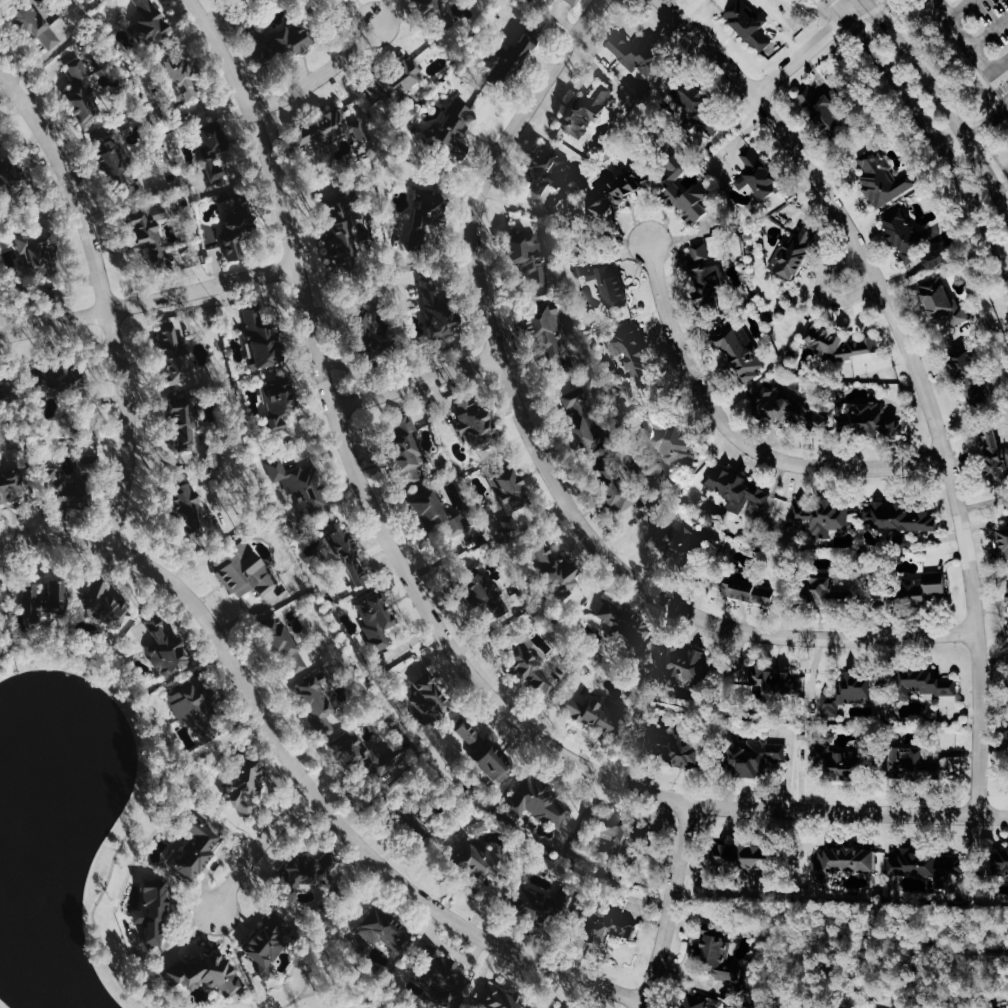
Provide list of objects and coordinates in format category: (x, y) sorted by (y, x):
building: (244, 1)
building: (572, 2)
road: (890, 2)
road: (855, 7)
road: (958, 7)
building: (433, 11)
building: (151, 23)
building: (754, 26)
parking lot: (976, 26)
building: (38, 27)
road: (989, 31)
building: (292, 39)
road: (970, 44)
road: (800, 54)
building: (638, 55)
building: (509, 62)
road: (1007, 74)
road: (320, 76)
building: (184, 77)
building: (401, 79)
road: (948, 88)
building: (83, 93)
road: (999, 99)
road: (944, 103)
building: (698, 104)
building: (826, 109)
building: (585, 112)
road: (986, 122)
building: (457, 124)
building: (332, 128)
road: (927, 128)
building: (214, 146)
building: (115, 163)
building: (548, 171)
building: (12, 174)
building: (759, 175)
road: (230, 179)
building: (886, 179)
building: (687, 191)
building: (618, 193)
building: (428, 218)
building: (150, 231)
building: (238, 232)
building: (343, 235)
building: (905, 237)
building: (796, 252)
building: (38, 257)
building: (529, 257)
building: (940, 259)
building: (585, 267)
building: (710, 271)
building: (614, 284)
road: (824, 291)
road: (105, 296)
road: (149, 299)
building: (439, 307)
building: (949, 308)
building: (262, 338)
building: (553, 339)
building: (841, 344)
building: (742, 350)
building: (175, 353)
building: (637, 354)
building: (971, 365)
road: (915, 369)
building: (57, 378)
road: (415, 381)
building: (978, 397)
building: (279, 401)
building: (790, 409)
building: (580, 415)
building: (875, 421)
building: (186, 422)
building: (477, 422)
road: (737, 434)
building: (676, 440)
building: (406, 448)
road: (543, 458)
building: (997, 458)
building: (11, 485)
building: (301, 485)
building: (63, 489)
building: (742, 493)
building: (516, 501)
building: (189, 511)
building: (824, 514)
building: (438, 515)
building: (900, 520)
building: (682, 546)
building: (344, 554)
building: (558, 568)
building: (246, 570)
building: (752, 588)
building: (924, 588)
building: (481, 591)
building: (47, 599)
building: (105, 605)
road: (426, 609)
building: (377, 621)
road: (5, 623)
building: (625, 623)
building: (0, 633)
building: (285, 644)
building: (168, 649)
building: (686, 665)
building: (533, 668)
building: (776, 681)
building: (928, 683)
building: (850, 692)
building: (433, 696)
building: (193, 704)
building: (319, 704)
building: (598, 713)
building: (678, 747)
building: (361, 754)
road: (199, 755)
building: (756, 757)
road: (178, 759)
building: (494, 761)
building: (916, 762)
road: (300, 777)
building: (247, 785)
road: (154, 787)
building: (538, 801)
building: (480, 826)
building: (419, 827)
building: (620, 833)
road: (257, 847)
building: (196, 849)
building: (746, 858)
building: (332, 859)
building: (480, 860)
building: (1003, 860)
building: (843, 864)
building: (933, 866)
building: (308, 872)
building: (539, 905)
road: (668, 907)
road: (747, 908)
building: (154, 912)
road: (322, 922)
building: (606, 928)
building: (388, 932)
road: (875, 936)
building: (269, 943)
building: (720, 959)
road: (312, 971)
building: (206, 975)
building: (443, 976)
road: (949, 978)
road: (335, 987)
building: (503, 998)
building: (994, 1005)
building: (569, 1007)

